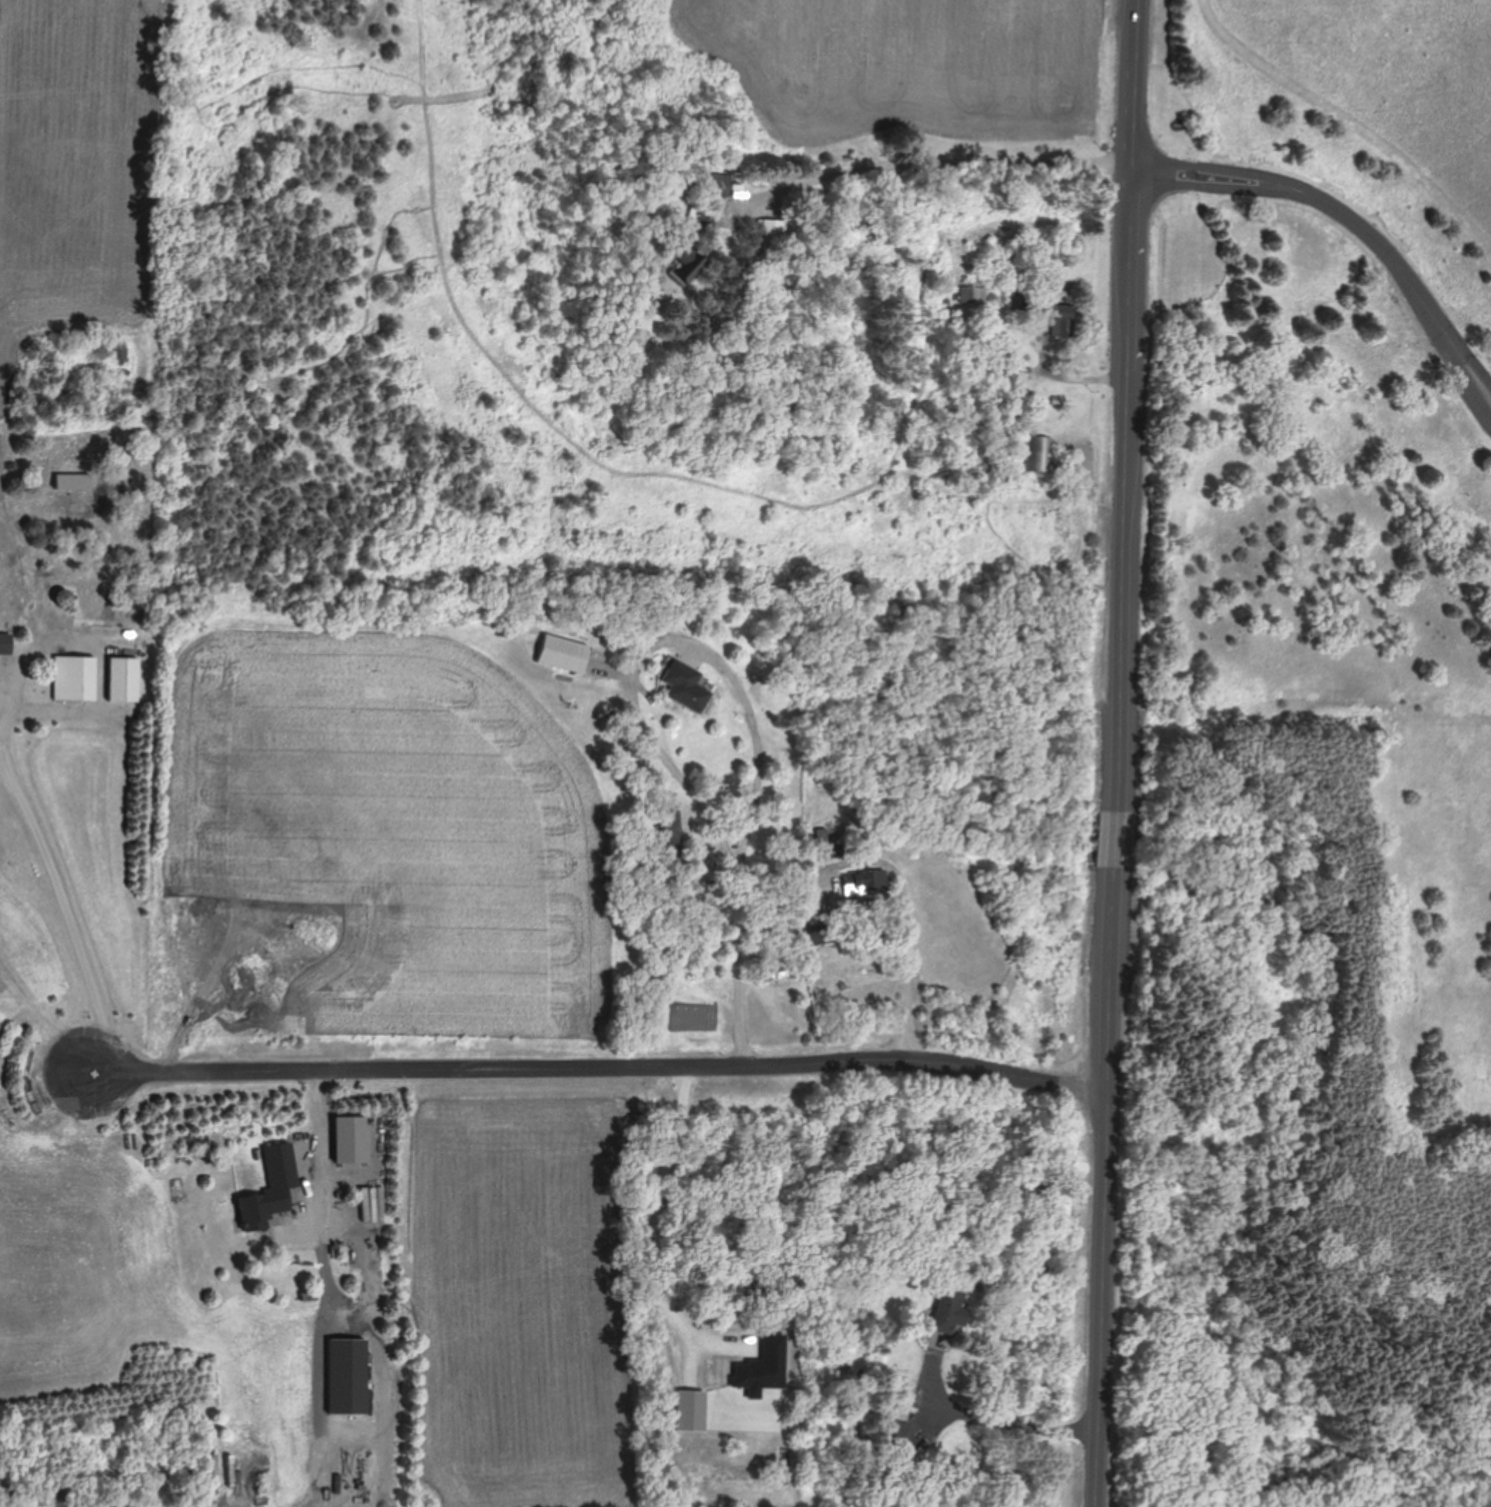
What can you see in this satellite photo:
road: (1139, 83)
road: (931, 154)
building: (718, 184)
road: (1351, 221)
building: (774, 233)
building: (686, 264)
building: (1037, 454)
building: (71, 483)
road: (1131, 488)
building: (62, 599)
building: (5, 643)
building: (562, 654)
road: (100, 656)
building: (72, 679)
building: (122, 680)
building: (684, 688)
road: (2, 714)
road: (637, 716)
park: (1310, 769)
building: (697, 835)
road: (1119, 838)
building: (858, 884)
road: (66, 915)
road: (907, 955)
road: (599, 1067)
road: (318, 1143)
road: (1109, 1186)
building: (269, 1188)
road: (649, 1223)
building: (949, 1309)
road: (1011, 1423)

